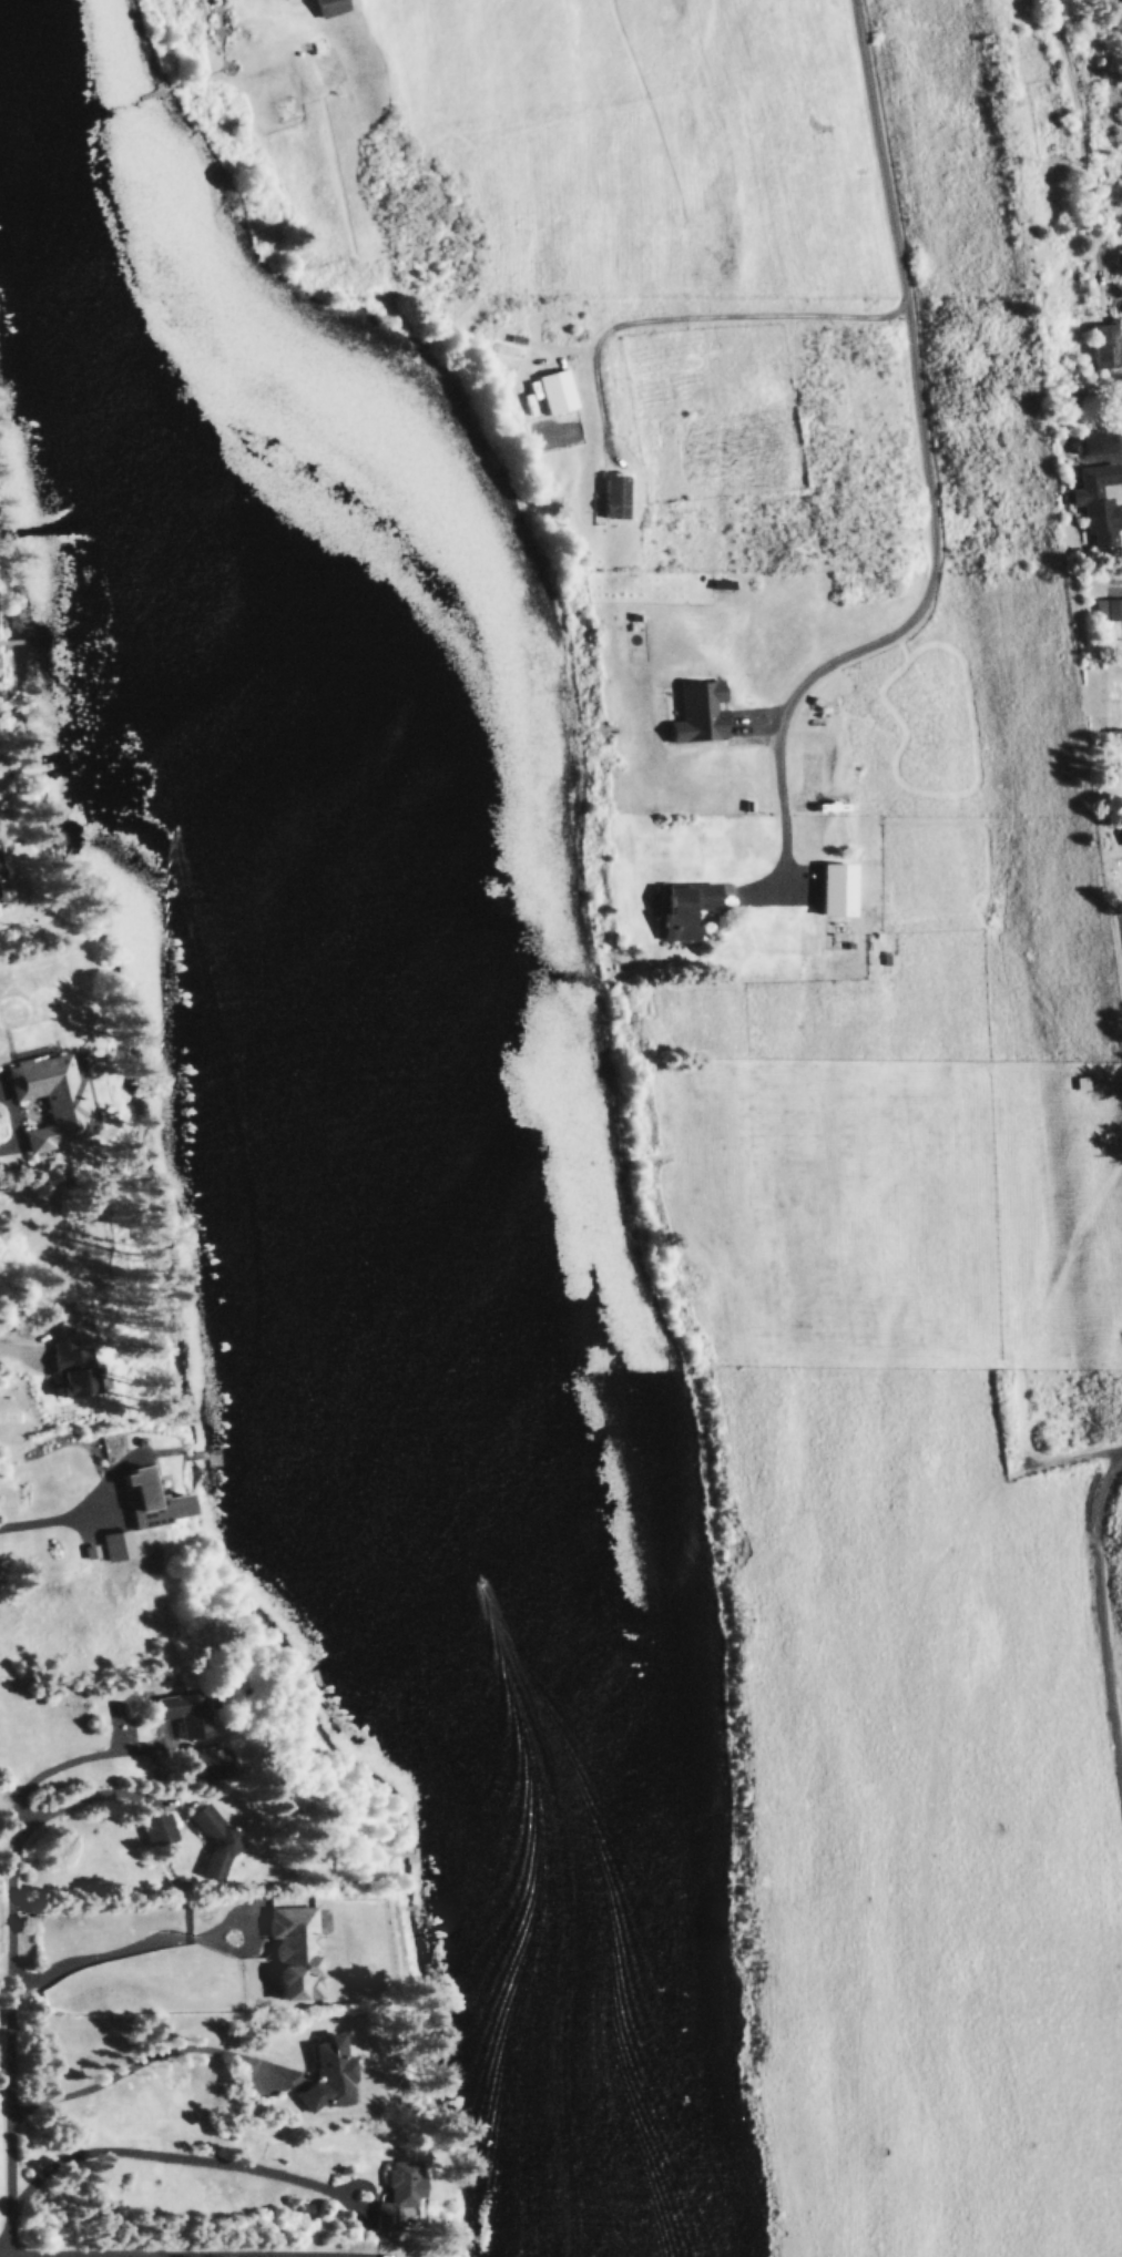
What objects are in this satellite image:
road: (1120, 0)
building: (327, 8)
building: (157, 95)
road: (887, 147)
building: (1100, 175)
road: (698, 316)
building: (1108, 346)
building: (561, 404)
building: (614, 496)
building: (1098, 502)
building: (1108, 609)
road: (899, 634)
building: (771, 647)
building: (836, 890)
building: (683, 910)
building: (53, 1101)
road: (54, 1288)
road: (0, 1337)
road: (1074, 1458)
building: (152, 1501)
building: (118, 1545)
road: (1106, 1586)
building: (187, 1714)
building: (206, 1761)
building: (157, 1830)
building: (216, 1844)
road: (14, 1950)
building: (295, 1954)
building: (327, 2076)
building: (395, 2198)
road: (140, 2254)
road: (139, 2255)

